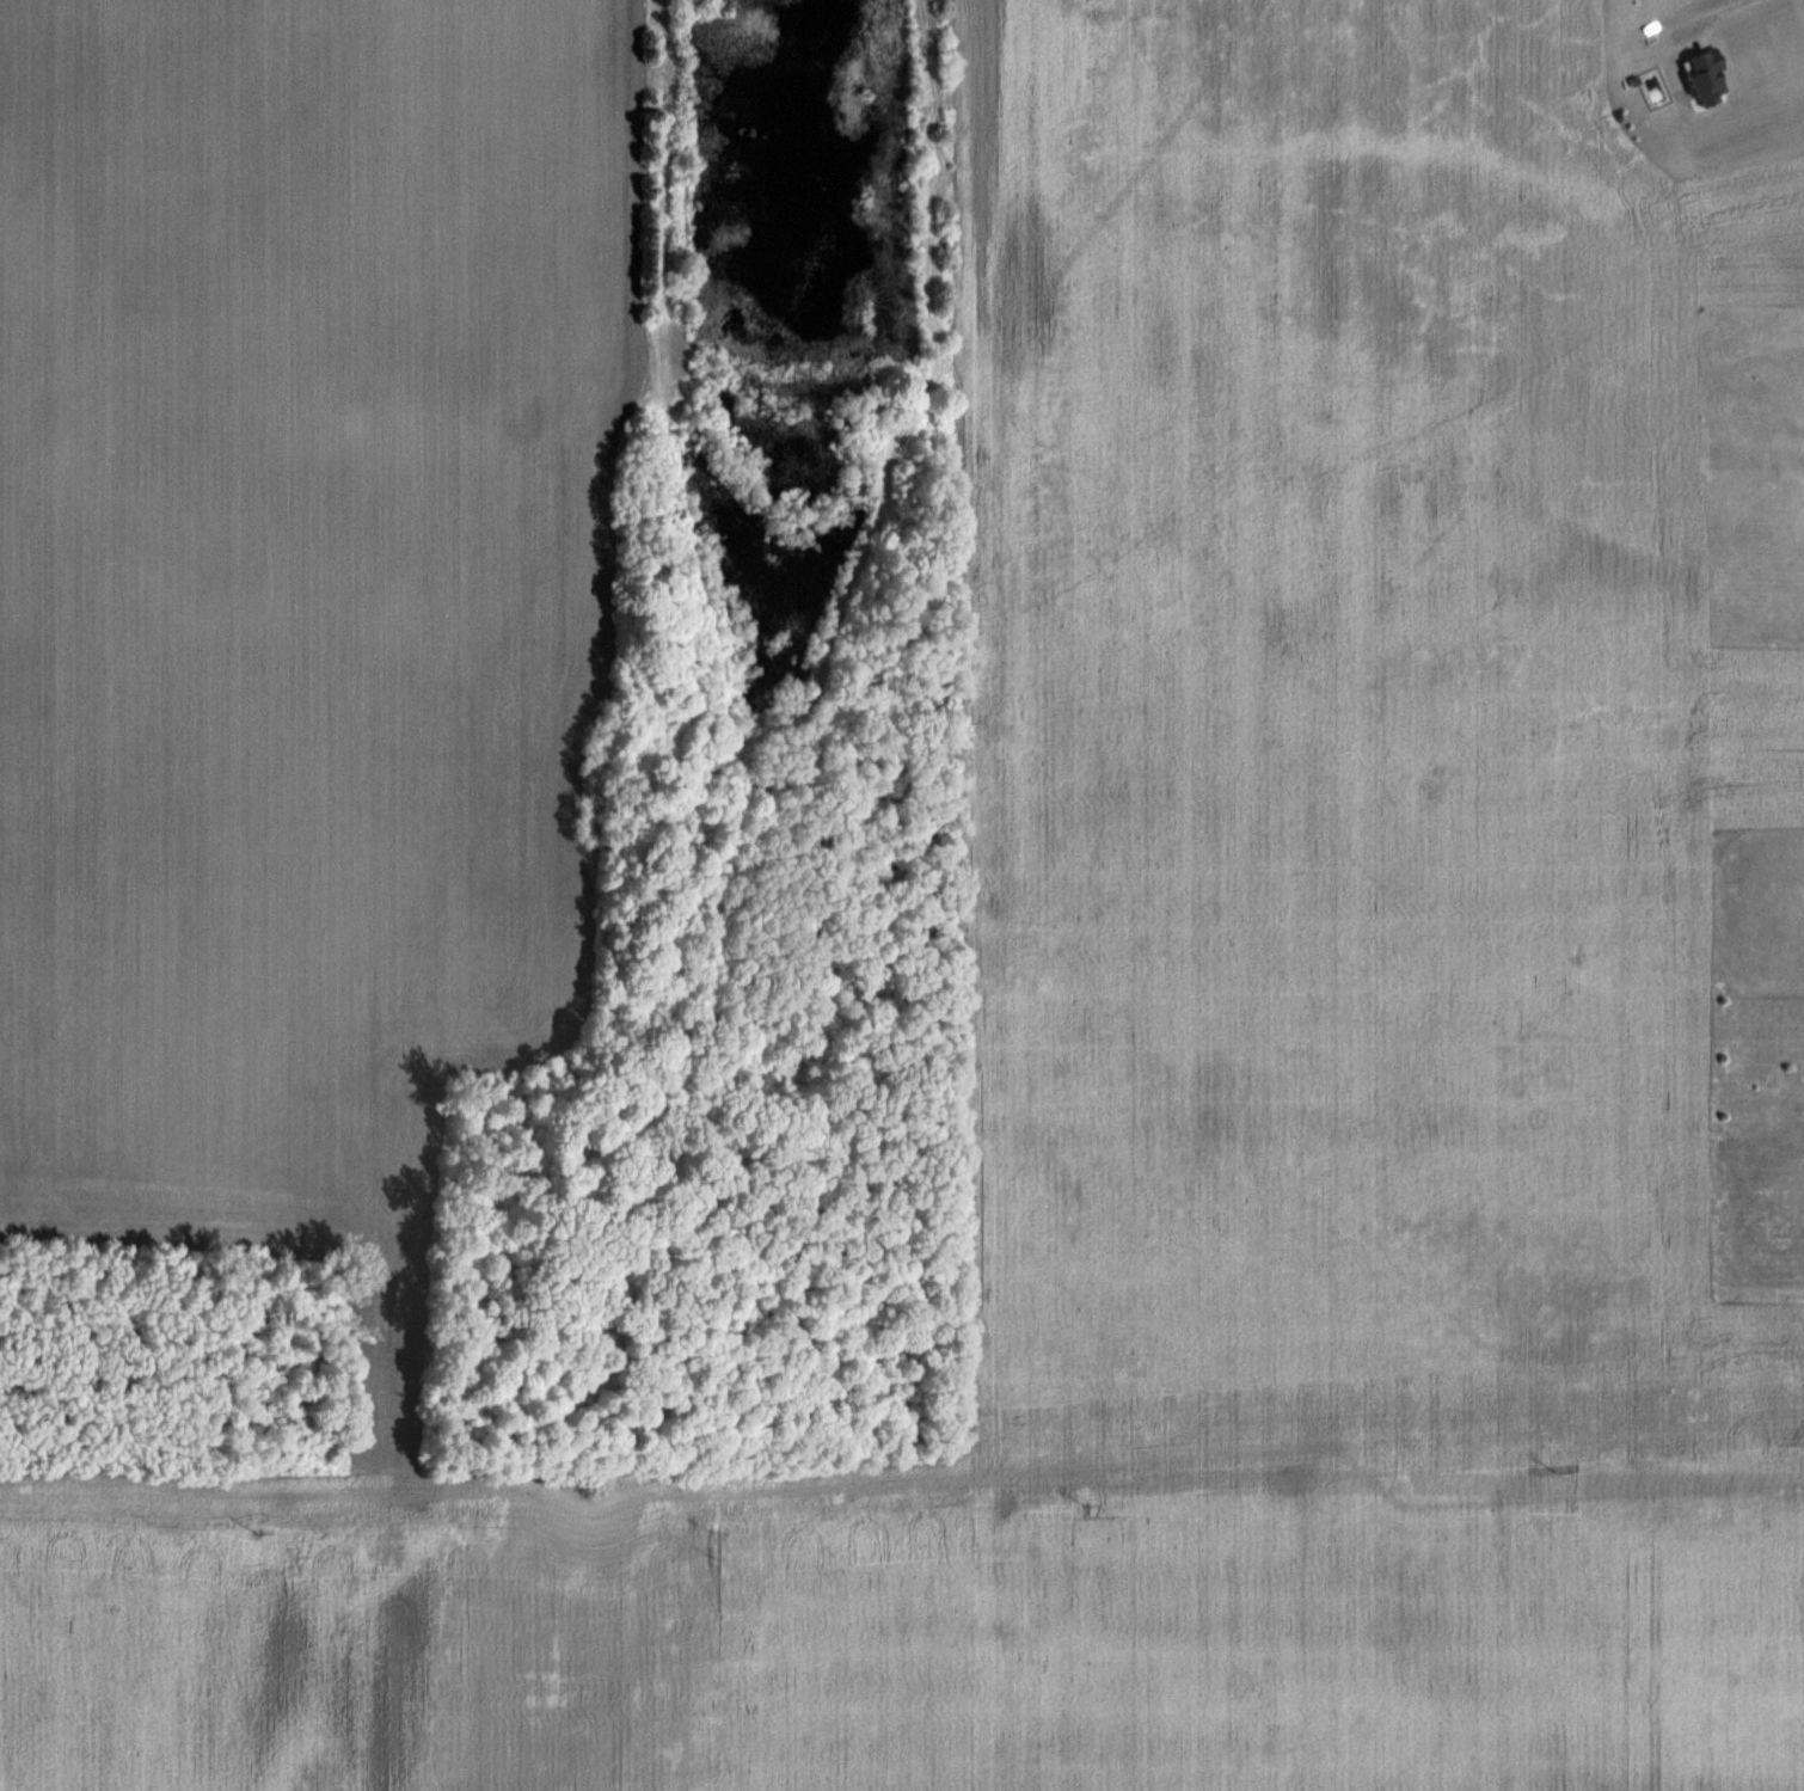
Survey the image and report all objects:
road: (1723, 16)
building: (1705, 76)

